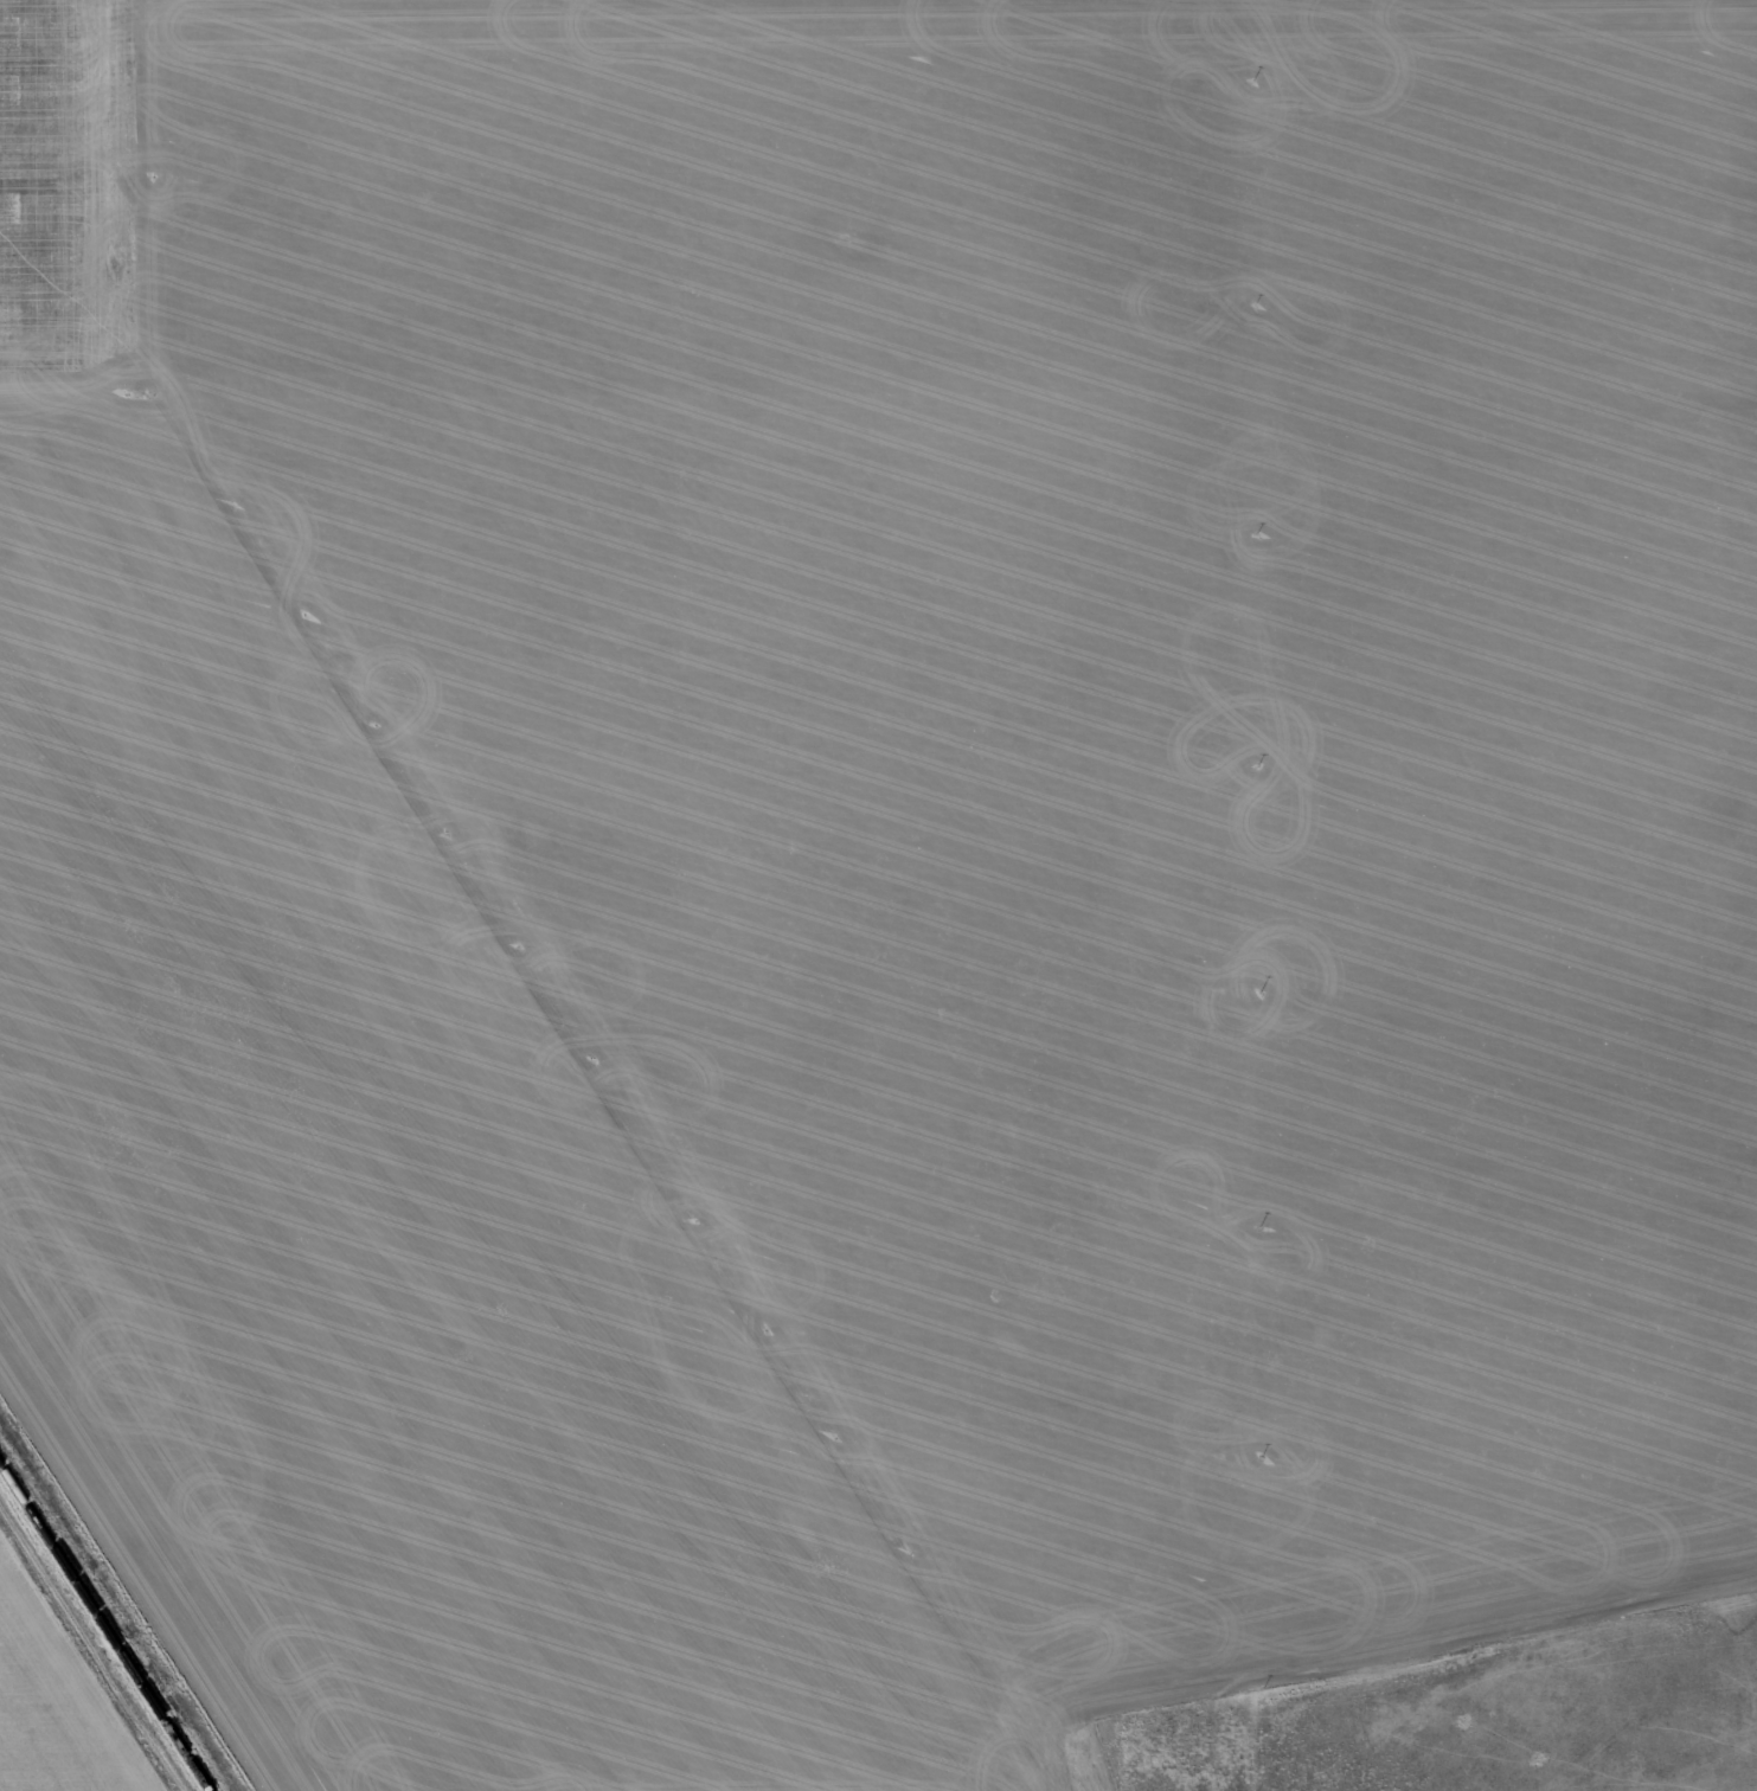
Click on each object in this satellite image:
railway: (104, 1626)

